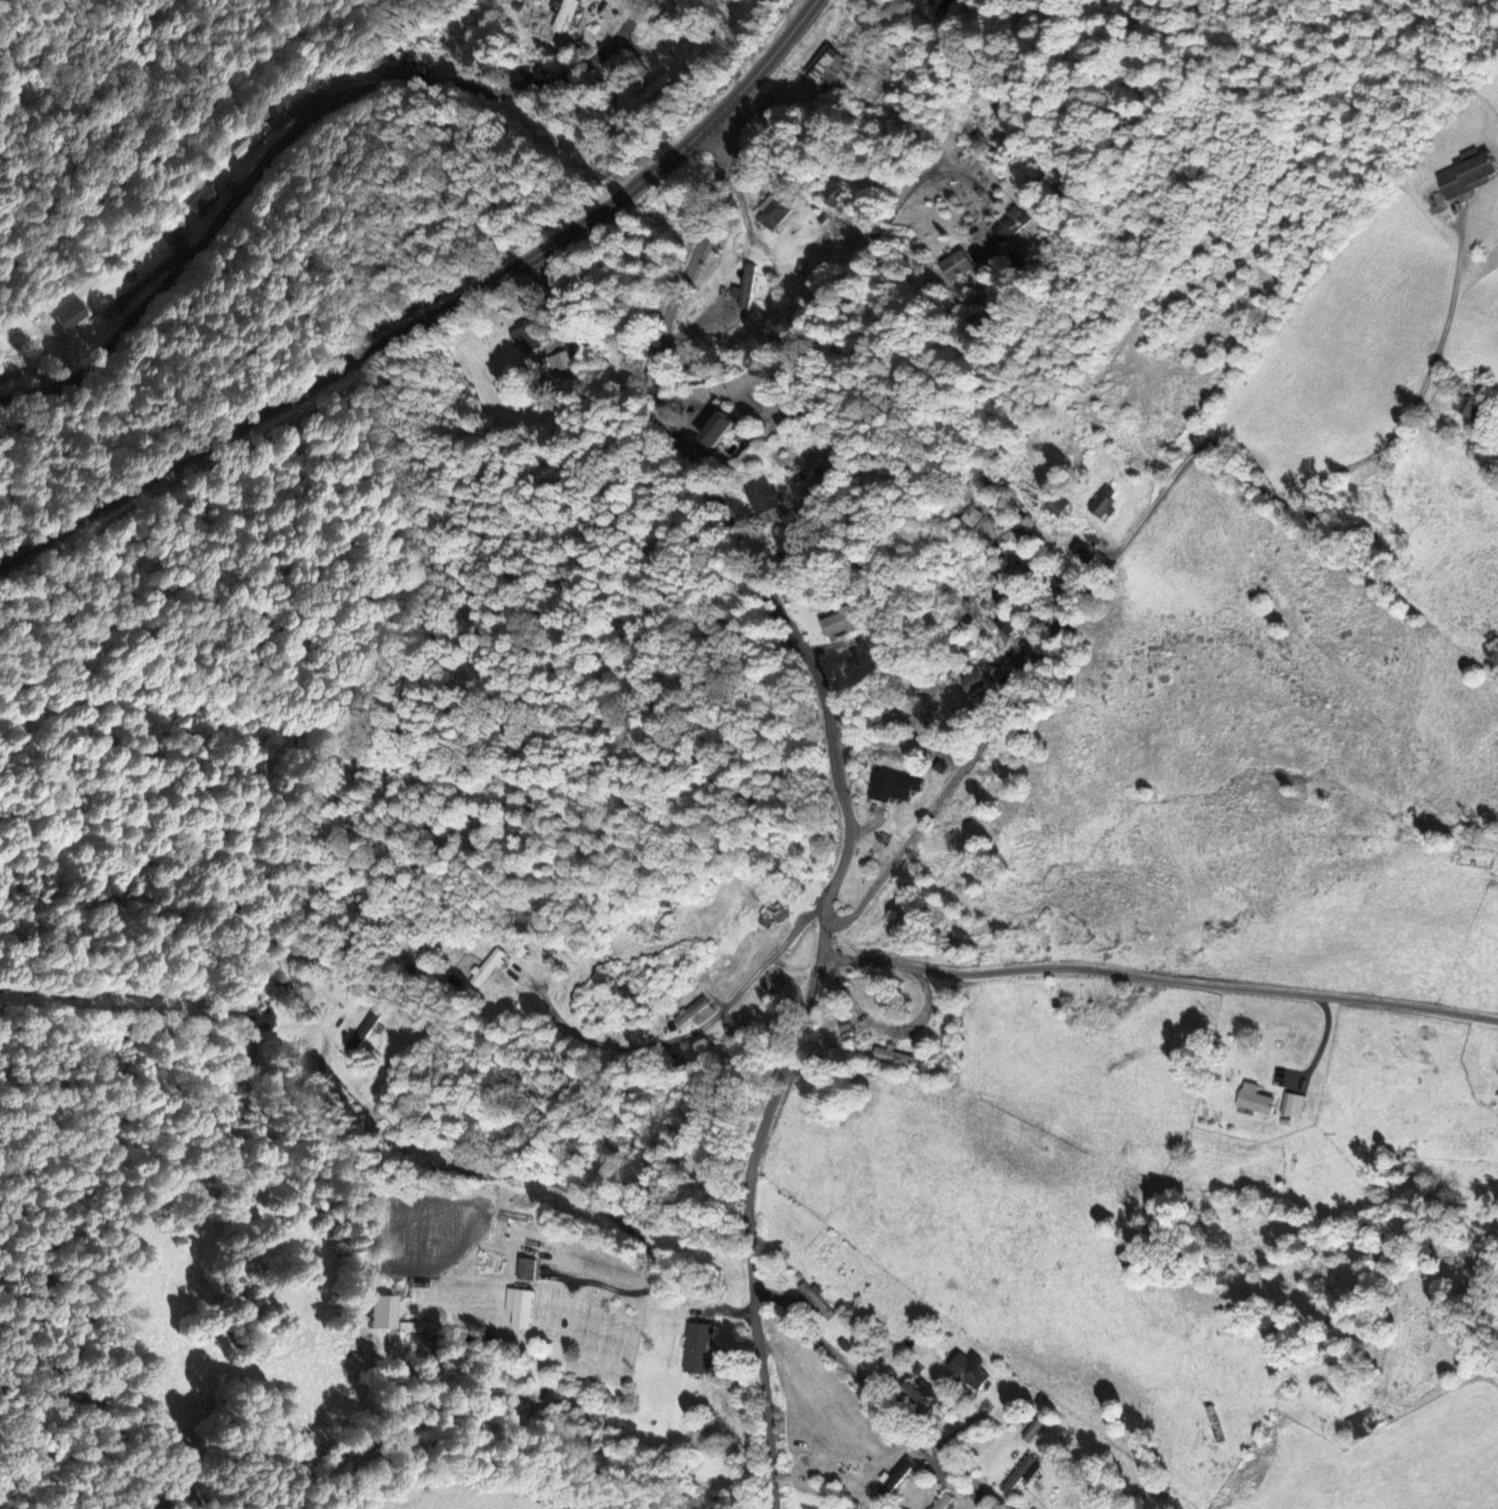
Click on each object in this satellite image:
building: (563, 15)
building: (824, 68)
building: (998, 110)
road: (287, 136)
building: (1467, 176)
building: (831, 193)
building: (202, 202)
building: (771, 210)
building: (1006, 229)
building: (953, 264)
road: (1454, 285)
road: (430, 314)
building: (68, 315)
building: (524, 340)
building: (1468, 406)
building: (719, 432)
building: (760, 495)
building: (1103, 503)
road: (1104, 566)
building: (836, 624)
building: (998, 627)
building: (974, 683)
building: (893, 786)
road: (841, 791)
building: (765, 917)
building: (663, 920)
building: (486, 968)
building: (287, 972)
road: (1159, 978)
building: (772, 980)
building: (689, 1013)
building: (243, 1024)
building: (362, 1032)
road: (677, 1038)
building: (895, 1058)
building: (1497, 1099)
building: (1253, 1100)
road: (597, 1210)
building: (524, 1270)
building: (425, 1293)
building: (815, 1303)
building: (518, 1308)
building: (411, 1331)
building: (477, 1339)
building: (698, 1349)
building: (967, 1373)
road: (882, 1393)
building: (918, 1399)
building: (1363, 1422)
building: (840, 1468)
building: (1017, 1475)
building: (895, 1480)
building: (942, 1503)

